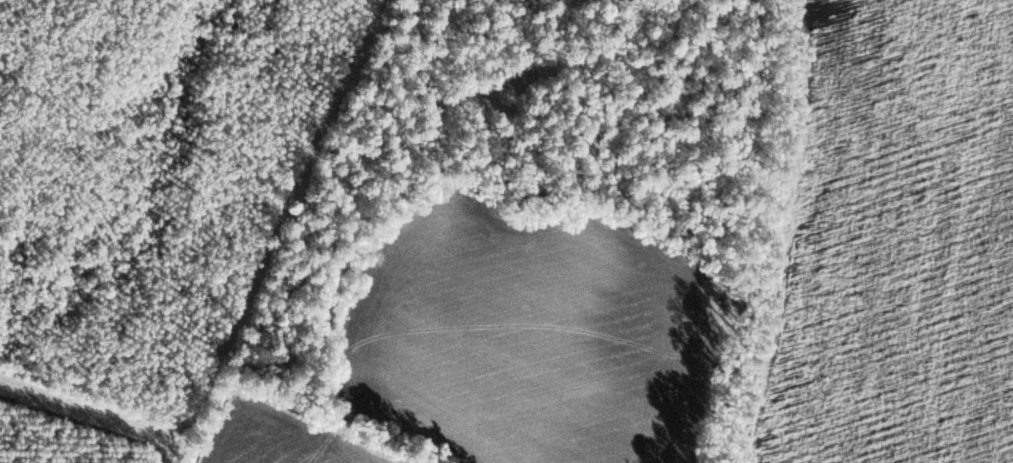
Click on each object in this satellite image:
road: (264, 330)

